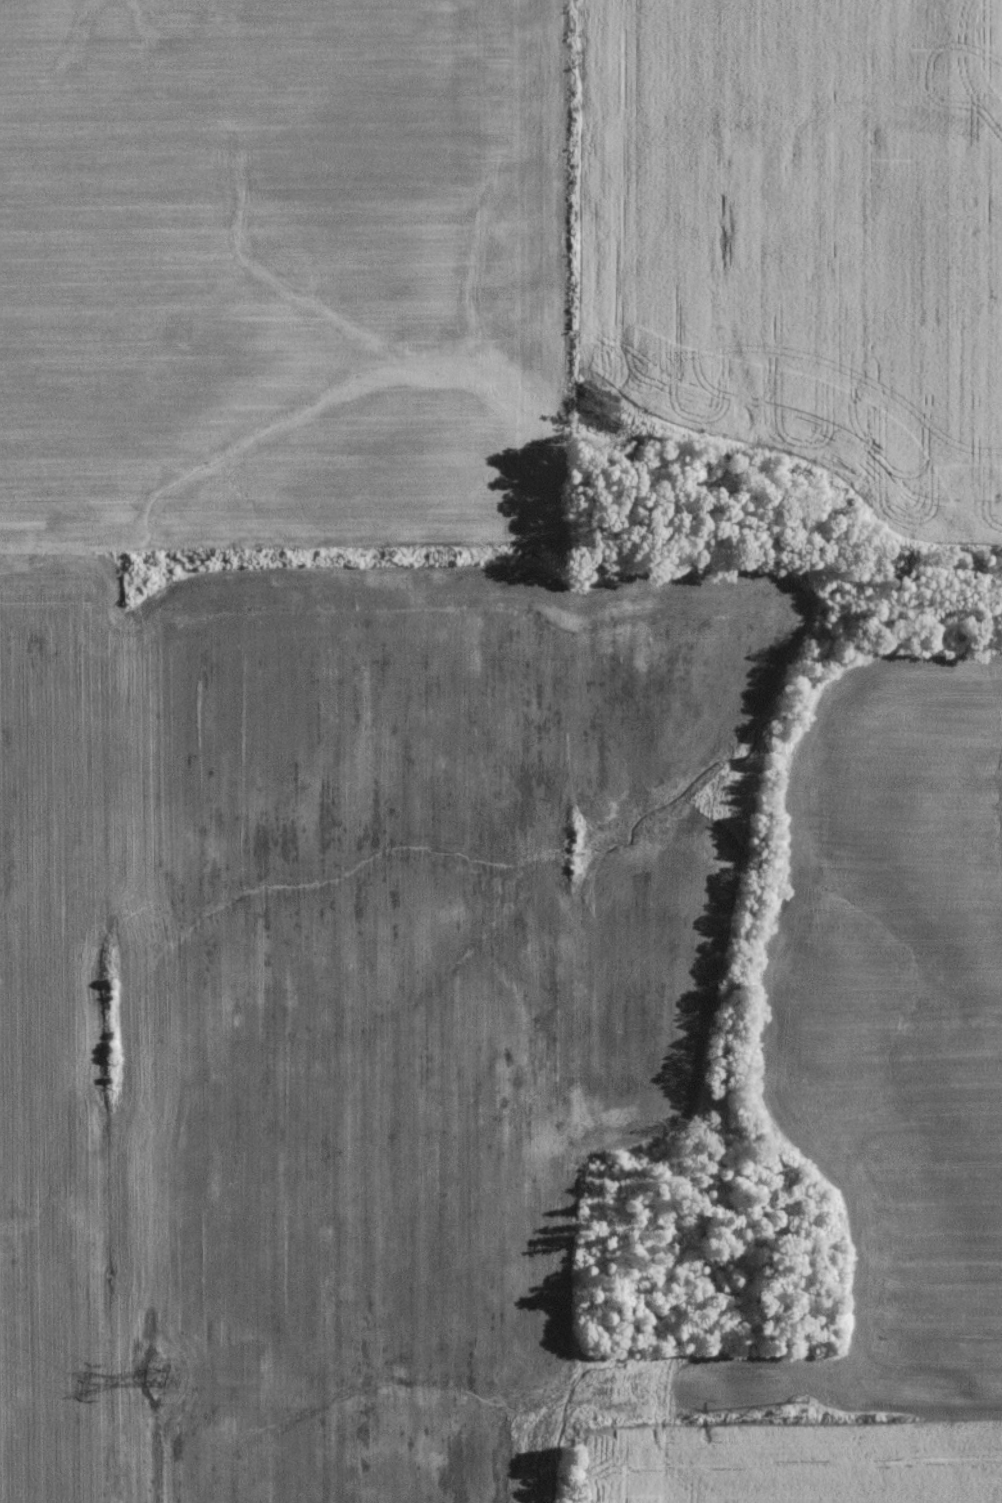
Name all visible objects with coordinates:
power tower: (152, 1381)
power tower: (787, 1412)

